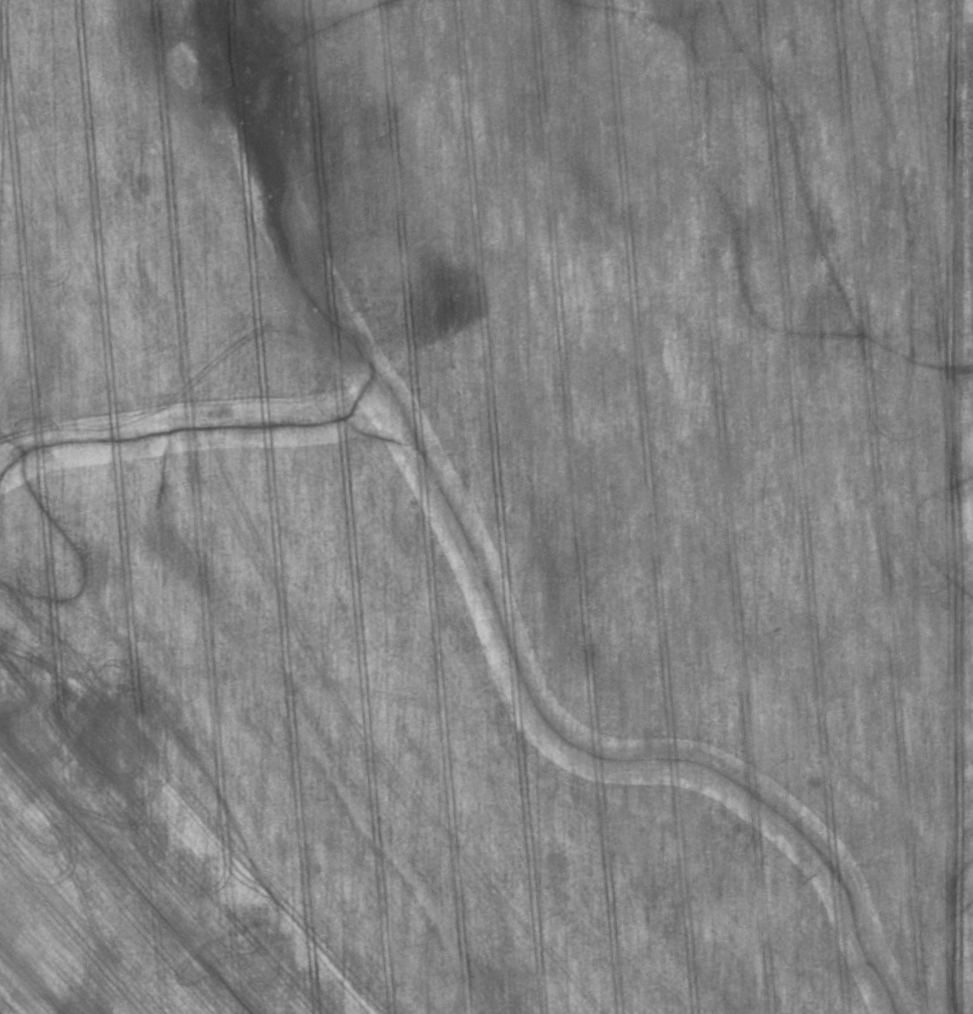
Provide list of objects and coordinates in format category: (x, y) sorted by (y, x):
road: (0, 1013)

